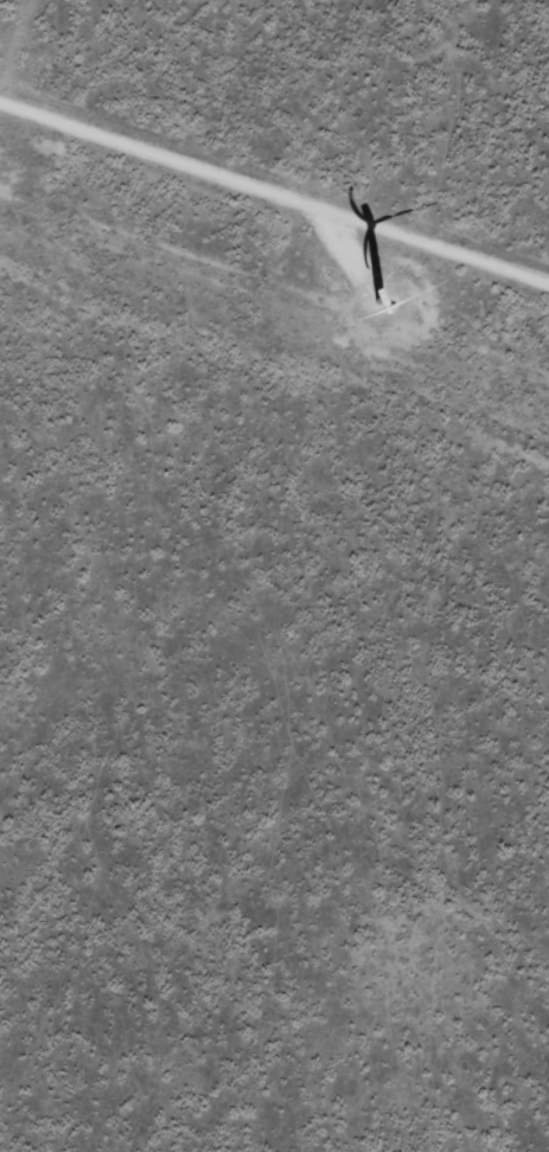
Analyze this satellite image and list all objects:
wind turbine: (371, 305)

